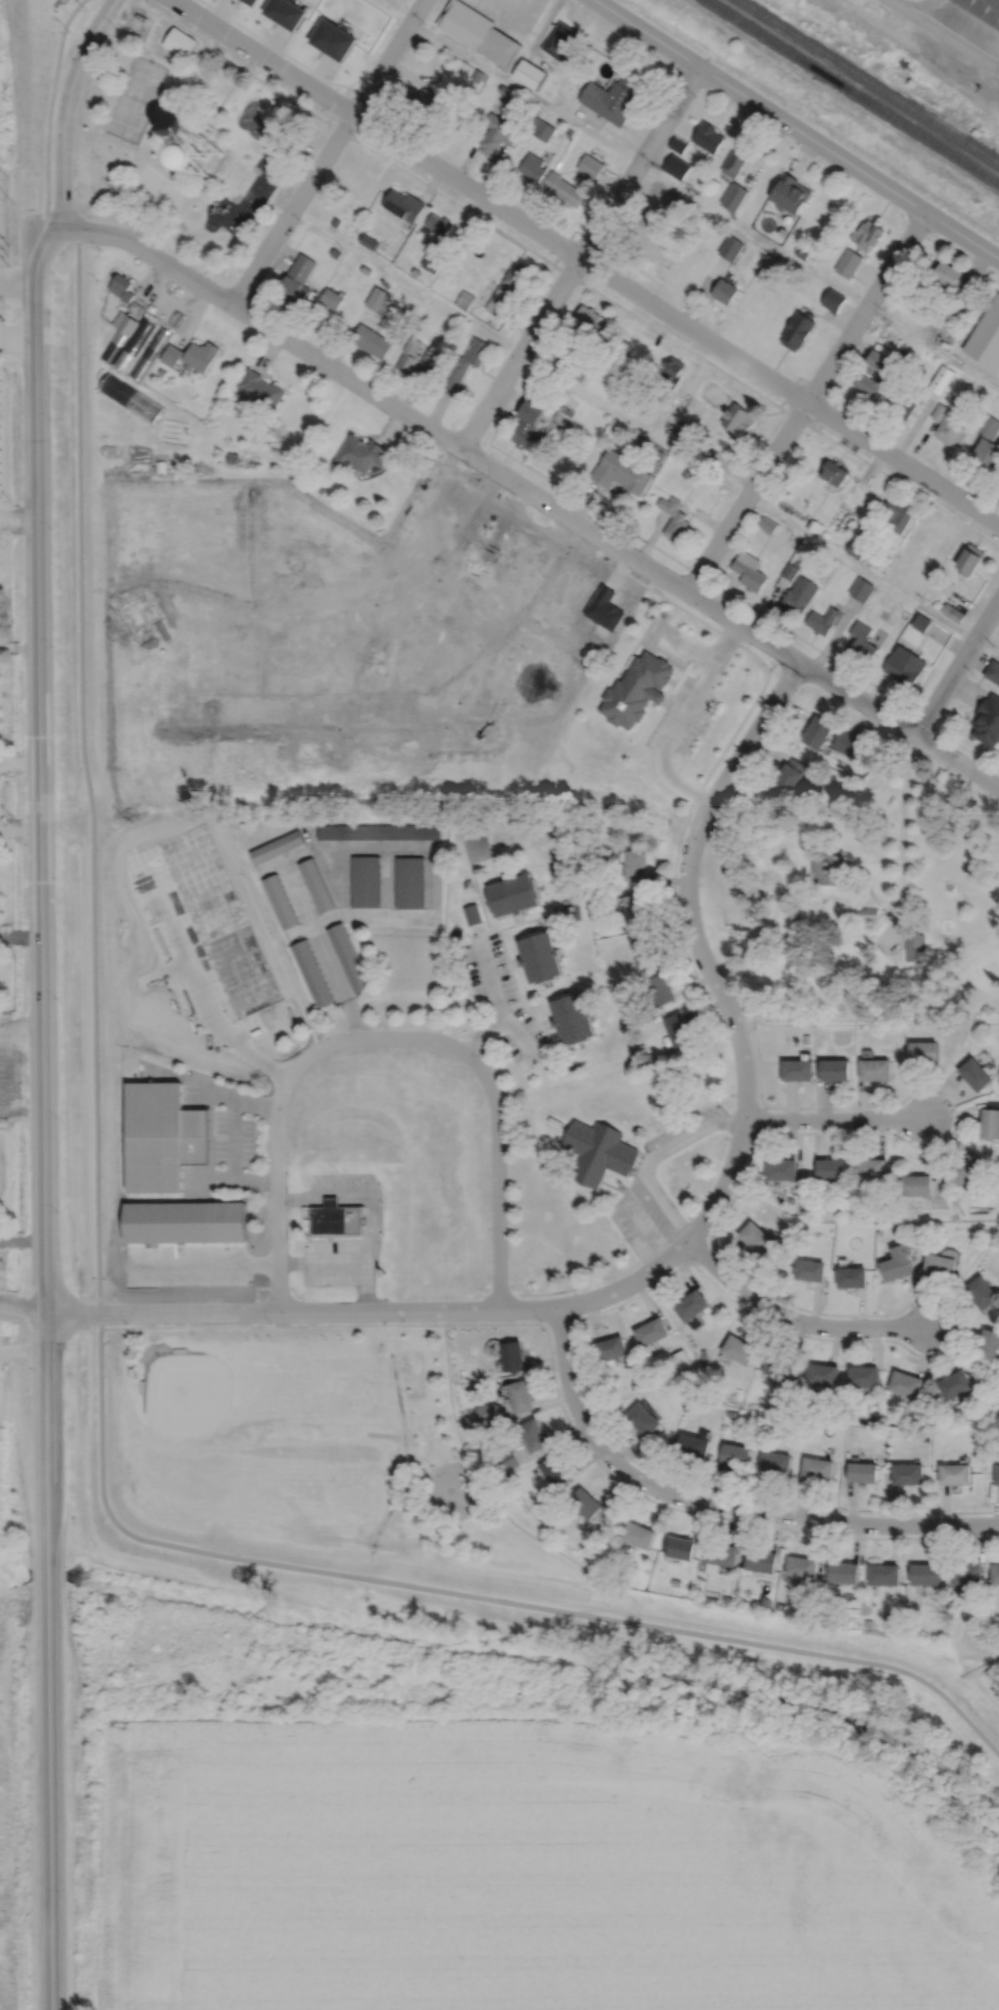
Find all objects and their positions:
road: (133, 0)
building: (250, 2)
building: (504, 4)
building: (982, 10)
building: (285, 13)
road: (504, 21)
building: (478, 33)
road: (944, 34)
building: (333, 40)
building: (179, 42)
building: (561, 42)
road: (231, 61)
railway: (898, 62)
road: (307, 67)
building: (529, 75)
building: (479, 76)
railway: (869, 81)
road: (230, 87)
building: (547, 91)
railway: (852, 91)
building: (507, 92)
road: (275, 98)
building: (614, 98)
park: (136, 99)
road: (369, 100)
building: (419, 100)
road: (49, 101)
road: (64, 109)
building: (279, 111)
road: (294, 112)
road: (329, 117)
road: (574, 120)
road: (796, 129)
building: (541, 130)
building: (569, 133)
building: (498, 135)
building: (707, 138)
park: (188, 139)
building: (677, 145)
road: (327, 152)
water tower: (203, 155)
building: (230, 157)
building: (736, 162)
building: (590, 167)
building: (532, 168)
building: (676, 168)
building: (564, 189)
park: (159, 190)
building: (660, 190)
building: (790, 195)
building: (734, 198)
building: (404, 204)
building: (334, 221)
building: (438, 224)
road: (496, 229)
road: (574, 230)
building: (869, 233)
building: (647, 236)
building: (368, 241)
building: (733, 245)
building: (802, 252)
building: (335, 253)
road: (579, 257)
building: (432, 260)
road: (585, 261)
building: (849, 262)
parking lot: (0, 269)
building: (365, 269)
building: (416, 271)
building: (948, 271)
building: (797, 272)
building: (515, 277)
building: (296, 279)
building: (120, 287)
building: (968, 289)
building: (724, 290)
building: (496, 296)
building: (331, 298)
building: (464, 299)
building: (477, 299)
building: (834, 299)
building: (379, 300)
building: (961, 303)
building: (135, 308)
building: (502, 308)
building: (176, 318)
building: (590, 318)
building: (124, 322)
building: (798, 328)
building: (986, 337)
road: (17, 338)
building: (371, 340)
building: (134, 343)
building: (113, 345)
road: (934, 345)
building: (149, 353)
building: (171, 355)
building: (199, 355)
building: (409, 356)
building: (430, 356)
building: (556, 359)
building: (879, 361)
building: (588, 362)
building: (464, 364)
building: (566, 364)
building: (675, 364)
building: (161, 372)
building: (941, 379)
building: (869, 382)
building: (258, 389)
building: (130, 397)
road: (805, 400)
building: (628, 402)
building: (903, 405)
building: (533, 409)
building: (566, 409)
building: (939, 411)
building: (737, 419)
building: (990, 426)
building: (952, 430)
road: (644, 431)
building: (526, 433)
road: (491, 436)
building: (987, 452)
building: (705, 453)
building: (361, 454)
building: (660, 455)
building: (231, 458)
building: (159, 466)
building: (622, 471)
building: (686, 472)
building: (833, 472)
building: (693, 476)
road: (533, 492)
building: (899, 514)
building: (674, 516)
road: (18, 520)
building: (767, 524)
building: (815, 526)
building: (856, 549)
building: (972, 559)
building: (798, 563)
building: (749, 571)
building: (790, 571)
building: (861, 589)
building: (799, 595)
road: (376, 596)
building: (954, 612)
building: (823, 620)
building: (921, 622)
building: (880, 634)
parking lot: (671, 640)
building: (862, 641)
road: (686, 643)
road: (4, 646)
road: (13, 647)
road: (27, 647)
building: (905, 665)
road: (957, 666)
building: (993, 671)
building: (638, 690)
parking lot: (682, 715)
road: (680, 720)
building: (988, 721)
road: (772, 732)
building: (818, 733)
building: (845, 743)
road: (86, 761)
building: (788, 781)
road: (698, 788)
building: (379, 832)
road: (902, 837)
building: (277, 846)
park: (476, 847)
road: (273, 864)
building: (638, 865)
building: (832, 868)
building: (366, 879)
road: (337, 880)
road: (388, 880)
building: (409, 881)
building: (595, 881)
building: (316, 884)
road: (434, 892)
building: (514, 892)
road: (479, 894)
building: (281, 900)
building: (638, 906)
building: (473, 912)
building: (871, 912)
road: (518, 921)
road: (303, 929)
building: (915, 946)
building: (646, 949)
building: (541, 954)
building: (349, 955)
building: (313, 971)
road: (490, 977)
building: (662, 988)
road: (517, 990)
parking lot: (503, 1000)
road: (205, 1003)
road: (502, 1015)
building: (574, 1016)
building: (859, 1016)
building: (889, 1017)
building: (678, 1027)
road: (386, 1037)
building: (806, 1038)
building: (925, 1049)
building: (797, 1068)
building: (835, 1068)
building: (876, 1068)
building: (976, 1072)
road: (209, 1084)
building: (993, 1103)
building: (164, 1110)
road: (44, 1118)
road: (834, 1118)
road: (955, 1118)
building: (556, 1120)
building: (991, 1122)
parking lot: (234, 1137)
road: (234, 1137)
building: (600, 1150)
road: (649, 1159)
building: (165, 1160)
building: (968, 1167)
building: (782, 1168)
building: (831, 1168)
building: (872, 1168)
road: (232, 1180)
building: (918, 1184)
parking lot: (659, 1185)
building: (938, 1190)
building: (799, 1196)
road: (376, 1200)
building: (338, 1218)
parking lot: (375, 1219)
building: (908, 1226)
building: (981, 1227)
building: (785, 1233)
building: (756, 1237)
road: (677, 1249)
road: (324, 1261)
building: (898, 1262)
building: (940, 1264)
road: (219, 1265)
building: (810, 1269)
building: (852, 1277)
road: (501, 1283)
road: (277, 1287)
building: (983, 1292)
building: (691, 1305)
road: (793, 1318)
road: (272, 1325)
building: (652, 1331)
road: (955, 1334)
building: (990, 1345)
building: (180, 1350)
building: (613, 1350)
building: (739, 1350)
building: (702, 1354)
building: (515, 1356)
building: (680, 1359)
building: (779, 1367)
building: (132, 1372)
building: (823, 1375)
building: (865, 1376)
building: (710, 1381)
road: (580, 1383)
building: (957, 1385)
building: (143, 1386)
building: (633, 1386)
building: (905, 1386)
building: (478, 1390)
building: (523, 1396)
building: (786, 1406)
building: (488, 1413)
building: (729, 1413)
building: (642, 1420)
building: (985, 1429)
park: (222, 1430)
building: (535, 1436)
building: (926, 1436)
building: (988, 1442)
building: (691, 1446)
building: (734, 1455)
building: (507, 1459)
building: (775, 1462)
building: (817, 1469)
building: (558, 1471)
building: (863, 1472)
building: (909, 1474)
building: (956, 1475)
building: (998, 1475)
building: (587, 1500)
road: (717, 1502)
road: (495, 1503)
road: (666, 1505)
building: (641, 1532)
building: (678, 1547)
building: (719, 1554)
building: (761, 1559)
building: (802, 1565)
building: (844, 1570)
building: (967, 1571)
building: (996, 1571)
building: (885, 1572)
building: (926, 1572)
building: (676, 1582)
road: (473, 1594)
building: (727, 1598)
building: (711, 1599)
building: (764, 1602)
building: (780, 1606)
building: (812, 1611)
building: (868, 1622)
crop: (523, 1870)

